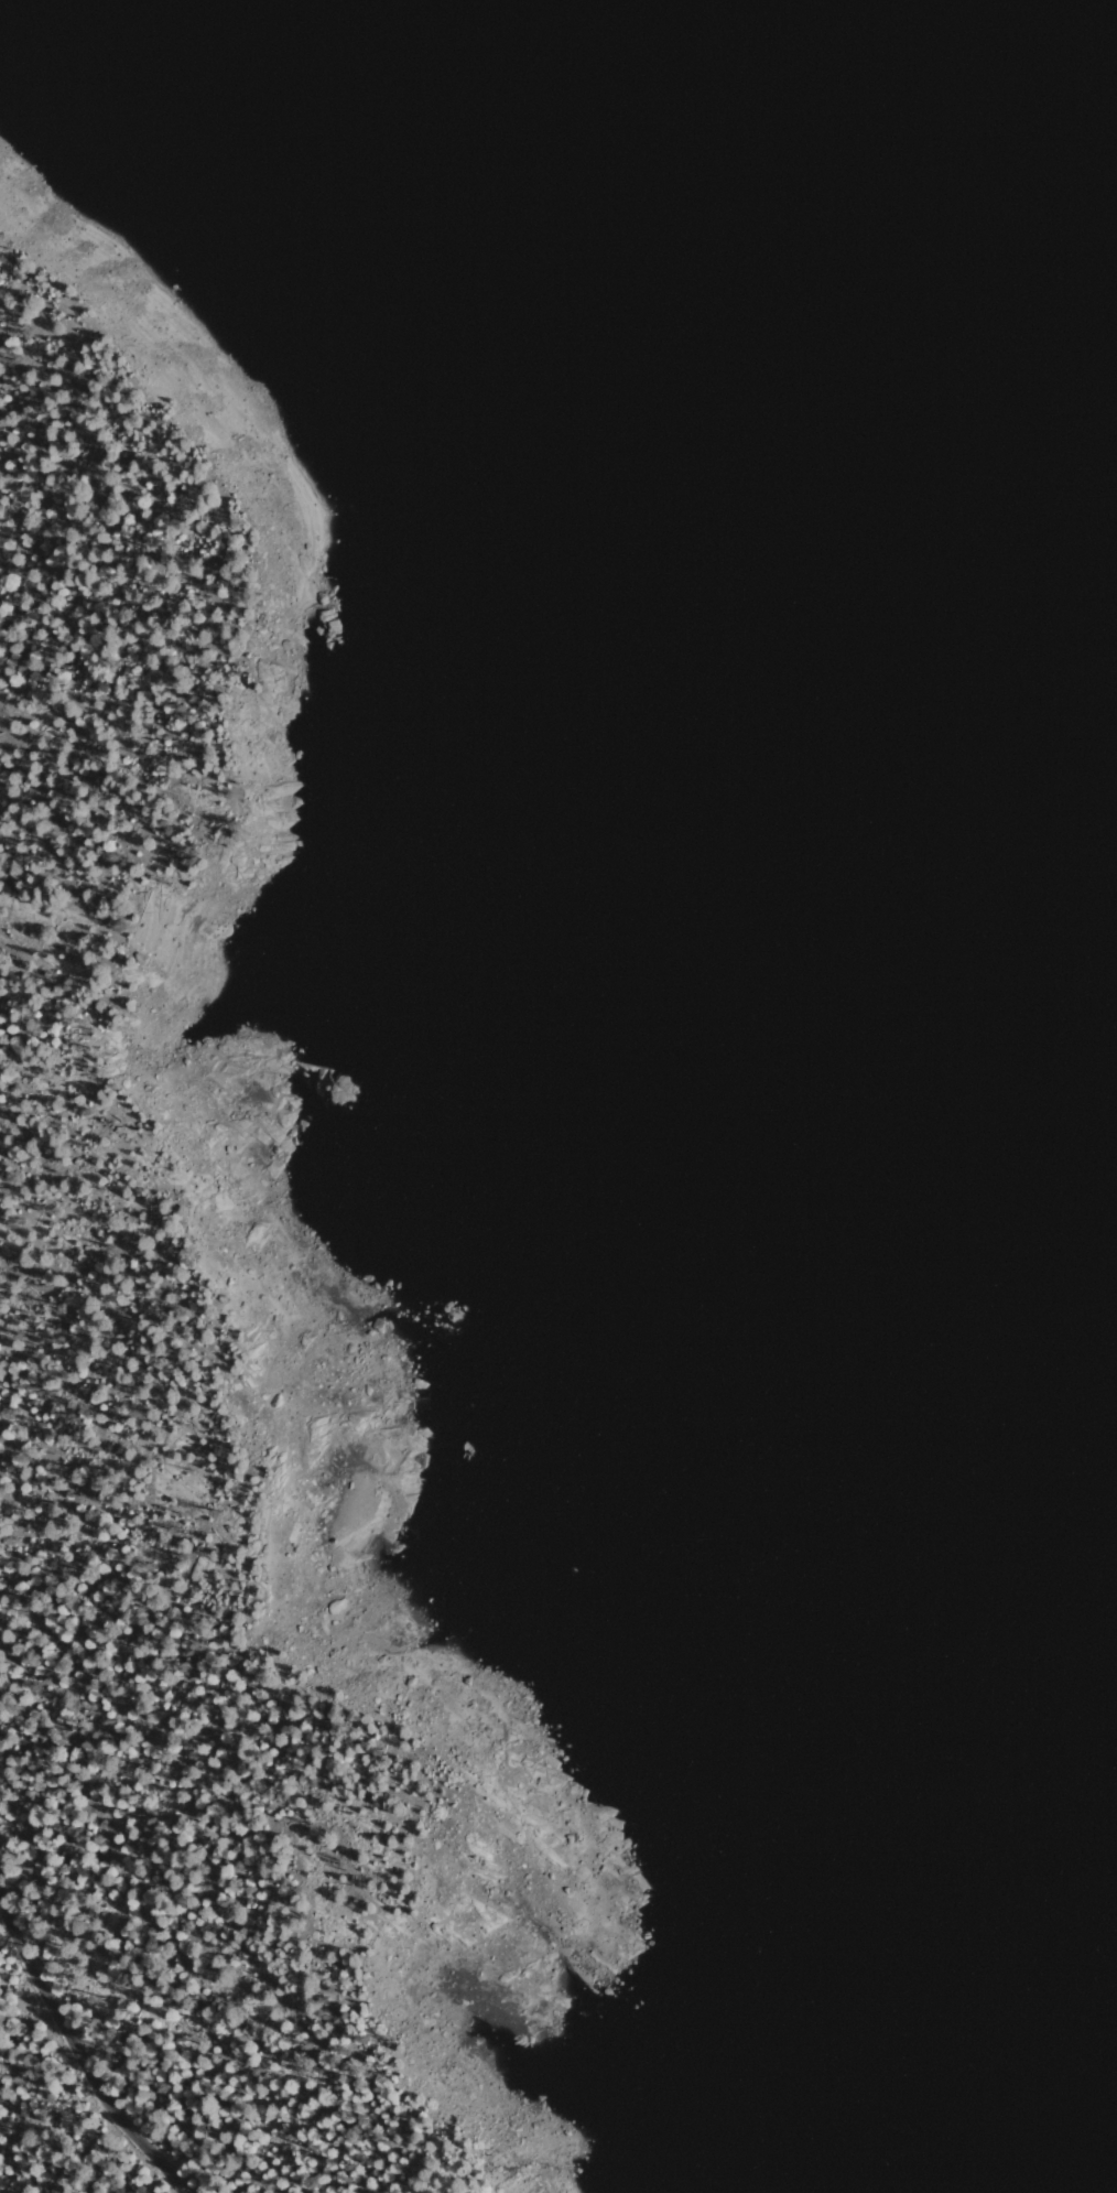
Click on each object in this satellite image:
road: (78, 2052)

